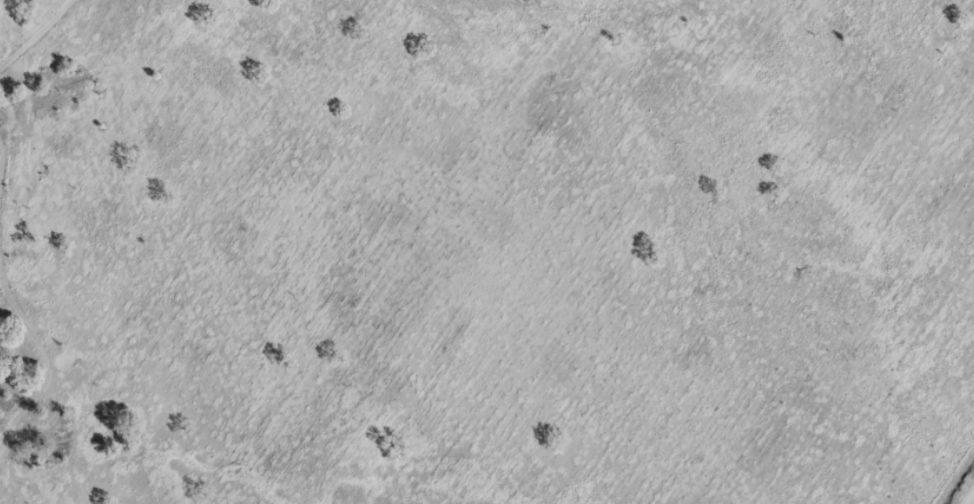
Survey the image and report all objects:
road: (969, 498)

